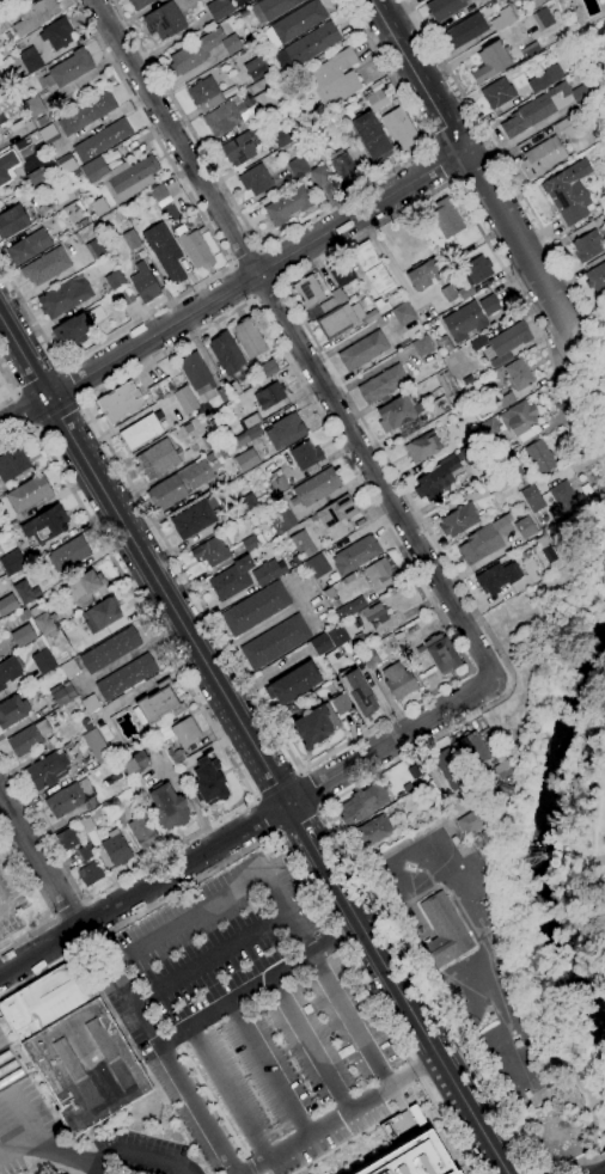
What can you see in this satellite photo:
building: (137, 4)
building: (218, 8)
building: (270, 8)
building: (444, 8)
building: (35, 16)
building: (502, 18)
building: (542, 18)
building: (165, 20)
building: (2, 24)
building: (294, 24)
building: (464, 31)
building: (56, 33)
building: (231, 44)
building: (305, 48)
building: (528, 50)
building: (194, 53)
building: (29, 59)
building: (490, 62)
building: (68, 68)
building: (255, 69)
building: (0, 74)
road: (418, 75)
building: (332, 79)
building: (544, 79)
building: (497, 93)
building: (203, 94)
building: (375, 100)
building: (265, 102)
building: (31, 106)
building: (543, 108)
building: (86, 114)
building: (224, 117)
building: (564, 128)
building: (401, 129)
building: (48, 134)
building: (285, 135)
building: (371, 137)
building: (102, 140)
building: (242, 147)
road: (432, 147)
road: (497, 154)
building: (543, 157)
road: (440, 163)
building: (329, 164)
building: (66, 165)
building: (7, 166)
building: (297, 167)
building: (120, 176)
building: (32, 178)
road: (450, 178)
building: (255, 179)
building: (569, 192)
building: (158, 194)
building: (603, 201)
building: (289, 204)
building: (98, 207)
building: (128, 212)
building: (446, 218)
building: (62, 219)
building: (12, 222)
road: (293, 226)
building: (130, 239)
building: (27, 247)
building: (586, 247)
building: (96, 249)
road: (257, 249)
building: (194, 250)
road: (521, 250)
road: (245, 258)
building: (169, 264)
road: (231, 265)
building: (44, 267)
road: (225, 267)
road: (265, 267)
building: (371, 269)
building: (475, 269)
building: (340, 271)
building: (424, 273)
building: (595, 277)
building: (114, 280)
road: (242, 281)
building: (143, 283)
road: (277, 283)
road: (263, 289)
road: (233, 291)
building: (307, 292)
building: (465, 292)
building: (448, 294)
building: (337, 295)
building: (123, 296)
building: (63, 298)
road: (250, 298)
road: (247, 300)
building: (326, 305)
building: (488, 305)
building: (402, 313)
building: (342, 319)
building: (463, 322)
building: (77, 328)
road: (295, 337)
building: (249, 338)
building: (509, 340)
building: (421, 346)
building: (362, 351)
building: (225, 353)
road: (59, 368)
building: (268, 368)
building: (195, 373)
building: (518, 374)
road: (36, 381)
building: (383, 385)
road: (67, 386)
road: (10, 389)
building: (233, 389)
building: (160, 390)
road: (14, 392)
building: (222, 395)
building: (269, 396)
building: (184, 399)
building: (506, 400)
road: (78, 402)
building: (120, 403)
road: (352, 404)
building: (439, 405)
road: (24, 409)
building: (397, 412)
road: (55, 414)
building: (518, 421)
building: (249, 422)
road: (35, 427)
building: (489, 427)
building: (285, 432)
building: (140, 433)
building: (245, 436)
building: (210, 440)
building: (422, 447)
building: (221, 454)
building: (539, 457)
building: (306, 459)
building: (157, 460)
building: (246, 460)
building: (12, 463)
building: (512, 464)
building: (435, 479)
building: (182, 482)
building: (280, 485)
building: (314, 488)
building: (29, 494)
building: (532, 499)
building: (562, 501)
building: (245, 503)
building: (334, 513)
building: (194, 519)
building: (281, 519)
building: (458, 520)
building: (45, 524)
building: (524, 527)
building: (484, 540)
building: (301, 543)
building: (210, 551)
building: (548, 552)
building: (68, 555)
building: (355, 555)
building: (11, 563)
building: (317, 565)
building: (268, 571)
building: (380, 574)
building: (497, 577)
building: (230, 580)
building: (86, 588)
building: (25, 592)
building: (329, 593)
building: (7, 605)
building: (255, 609)
building: (349, 610)
building: (100, 614)
building: (373, 614)
building: (43, 620)
building: (22, 636)
building: (336, 636)
building: (275, 642)
building: (320, 644)
building: (109, 650)
building: (441, 654)
building: (367, 656)
building: (42, 658)
building: (69, 668)
building: (10, 671)
building: (126, 677)
building: (398, 683)
building: (293, 684)
building: (357, 693)
building: (63, 696)
building: (160, 702)
building: (90, 704)
building: (340, 704)
building: (12, 711)
building: (86, 724)
building: (314, 726)
building: (185, 732)
building: (161, 734)
building: (26, 740)
road: (252, 745)
building: (96, 746)
building: (473, 750)
road: (224, 751)
building: (175, 756)
building: (134, 764)
building: (447, 769)
building: (48, 770)
road: (298, 772)
building: (208, 782)
road: (276, 787)
road: (307, 791)
building: (69, 799)
road: (253, 799)
building: (112, 805)
building: (362, 805)
building: (167, 808)
road: (319, 808)
road: (265, 815)
road: (297, 820)
building: (466, 824)
road: (247, 828)
building: (142, 832)
building: (372, 833)
road: (276, 834)
river: (544, 834)
building: (67, 839)
building: (116, 849)
building: (86, 852)
park: (595, 856)
road: (39, 860)
road: (294, 867)
building: (88, 874)
road: (42, 898)
road: (81, 901)
road: (68, 911)
road: (55, 918)
road: (190, 919)
building: (444, 931)
road: (209, 958)
road: (257, 984)
road: (427, 991)
building: (47, 999)
parking lot: (247, 1021)
road: (306, 1044)
building: (86, 1066)
road: (267, 1068)
road: (224, 1093)
parking lot: (20, 1112)
road: (336, 1114)
road: (48, 1149)
parking lot: (136, 1155)
road: (139, 1155)
road: (603, 1155)
building: (415, 1157)
road: (575, 1162)
road: (65, 1168)
road: (97, 1169)

